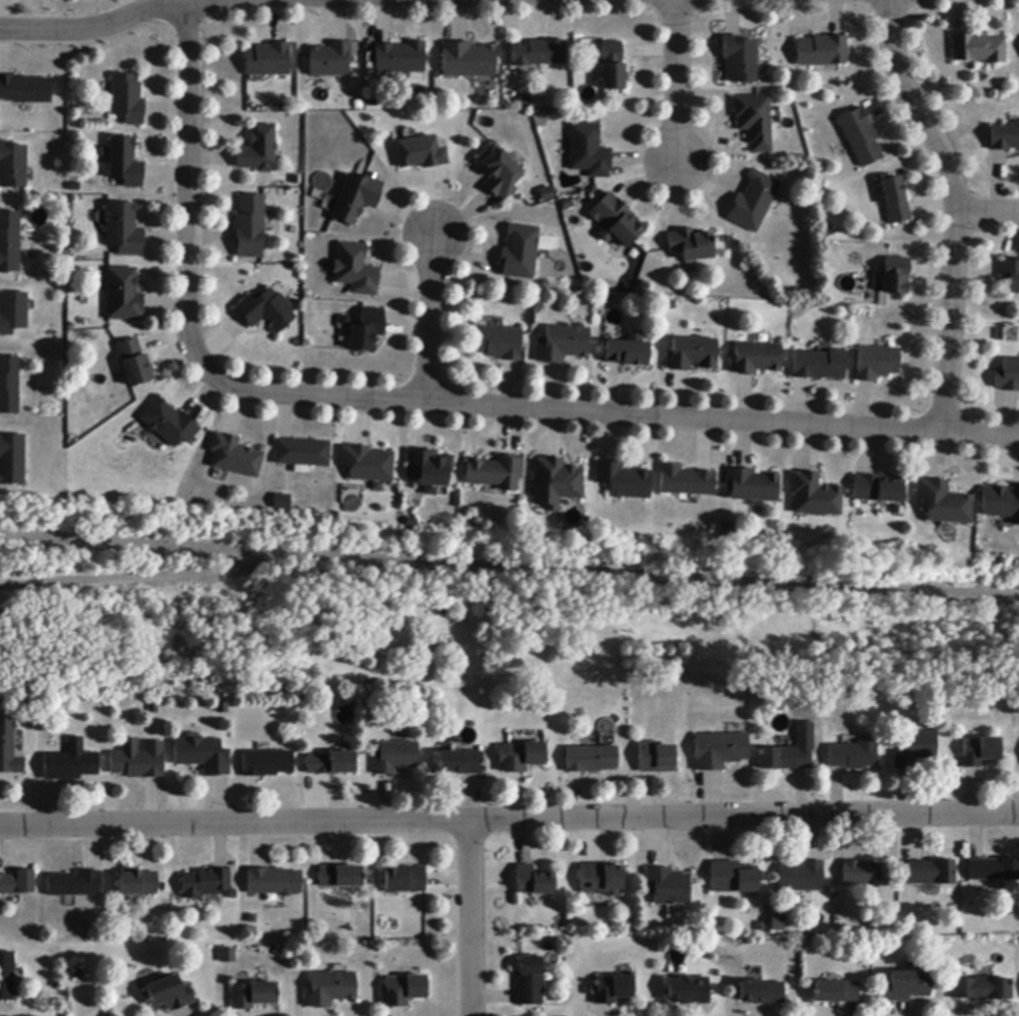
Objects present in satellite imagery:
road: (92, 28)
building: (978, 49)
building: (821, 52)
building: (539, 53)
building: (400, 58)
building: (740, 60)
building: (269, 61)
building: (330, 61)
building: (468, 61)
building: (612, 67)
road: (676, 81)
building: (25, 90)
building: (127, 99)
building: (524, 102)
building: (754, 121)
building: (860, 138)
building: (1004, 138)
building: (258, 150)
building: (588, 151)
building: (421, 153)
building: (125, 163)
building: (13, 166)
building: (499, 174)
building: (546, 194)
building: (356, 199)
building: (894, 201)
building: (753, 202)
road: (956, 211)
road: (988, 212)
building: (616, 222)
building: (250, 227)
building: (123, 230)
building: (9, 242)
building: (691, 245)
building: (520, 253)
building: (355, 271)
building: (1011, 275)
building: (895, 277)
building: (123, 296)
building: (266, 311)
building: (13, 314)
road: (430, 320)
building: (368, 330)
building: (501, 343)
building: (563, 344)
building: (627, 353)
building: (692, 354)
building: (756, 359)
building: (135, 363)
building: (876, 364)
building: (819, 365)
building: (1008, 376)
building: (9, 385)
road: (423, 402)
building: (169, 424)
building: (302, 453)
building: (234, 457)
building: (12, 460)
building: (367, 464)
building: (429, 470)
building: (496, 473)
building: (624, 481)
building: (686, 482)
building: (555, 483)
building: (751, 486)
building: (878, 489)
building: (814, 496)
building: (279, 500)
building: (943, 503)
building: (1001, 504)
building: (726, 532)
road: (509, 566)
road: (131, 578)
building: (9, 749)
building: (915, 749)
building: (719, 751)
building: (979, 752)
building: (203, 756)
building: (853, 756)
building: (395, 757)
building: (520, 757)
building: (655, 758)
building: (785, 759)
building: (590, 760)
building: (70, 763)
building: (139, 763)
building: (458, 763)
building: (267, 764)
building: (331, 764)
road: (509, 823)
building: (994, 870)
building: (932, 873)
building: (866, 874)
building: (340, 877)
building: (801, 877)
building: (732, 878)
building: (600, 879)
building: (404, 880)
building: (533, 881)
building: (273, 882)
building: (17, 883)
building: (138, 883)
building: (74, 884)
building: (204, 884)
building: (667, 887)
road: (467, 920)
building: (778, 923)
building: (228, 956)
building: (7, 977)
building: (529, 982)
building: (908, 985)
building: (330, 990)
building: (611, 990)
building: (982, 990)
building: (402, 991)
building: (688, 991)
building: (836, 992)
building: (762, 993)
building: (169, 994)
building: (253, 996)
building: (110, 1014)

